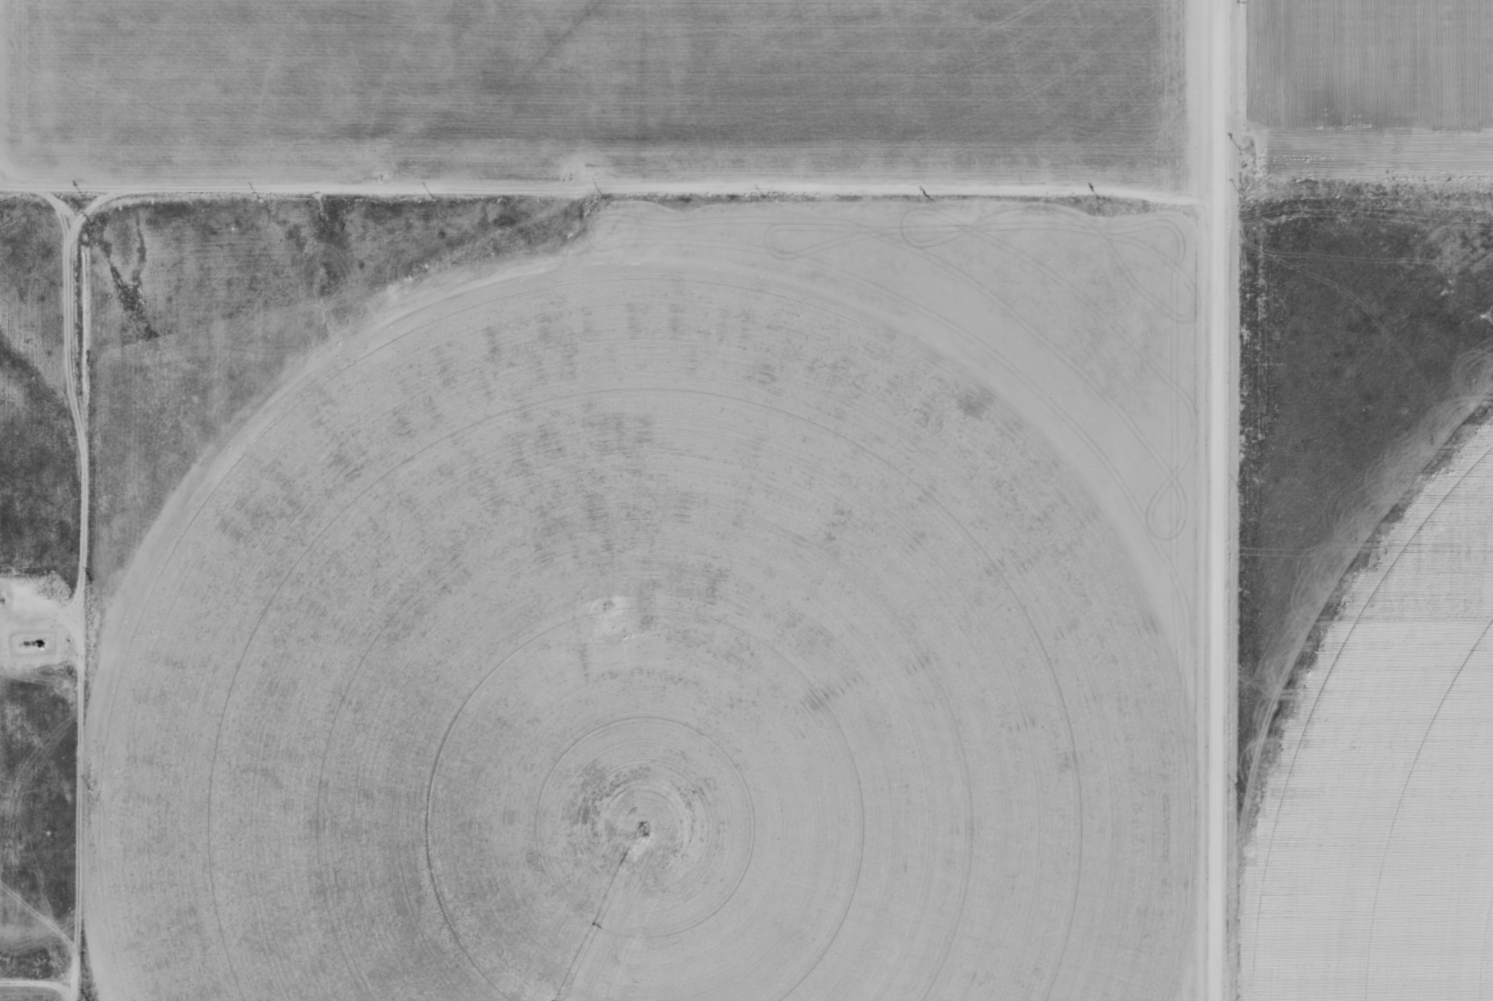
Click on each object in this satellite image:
road: (606, 158)
road: (1227, 500)
road: (87, 598)

